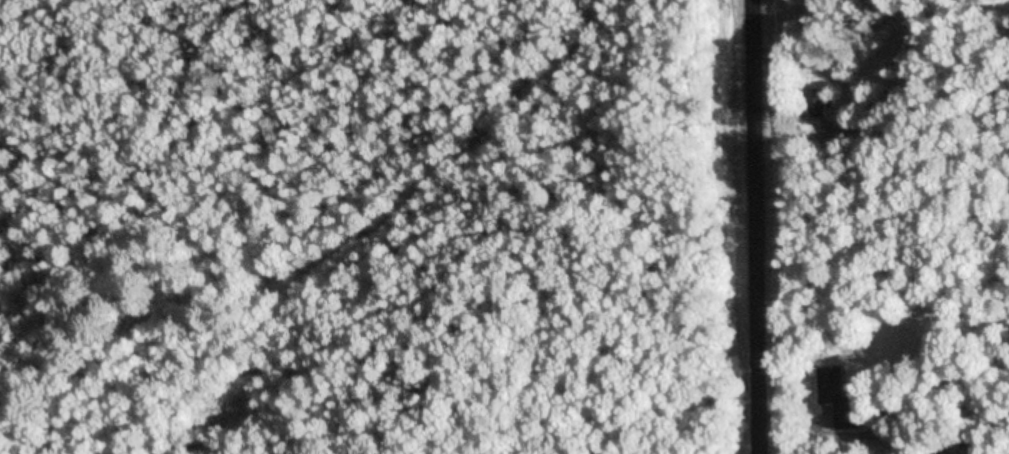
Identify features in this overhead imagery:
road: (754, 227)
building: (839, 397)
building: (942, 451)

